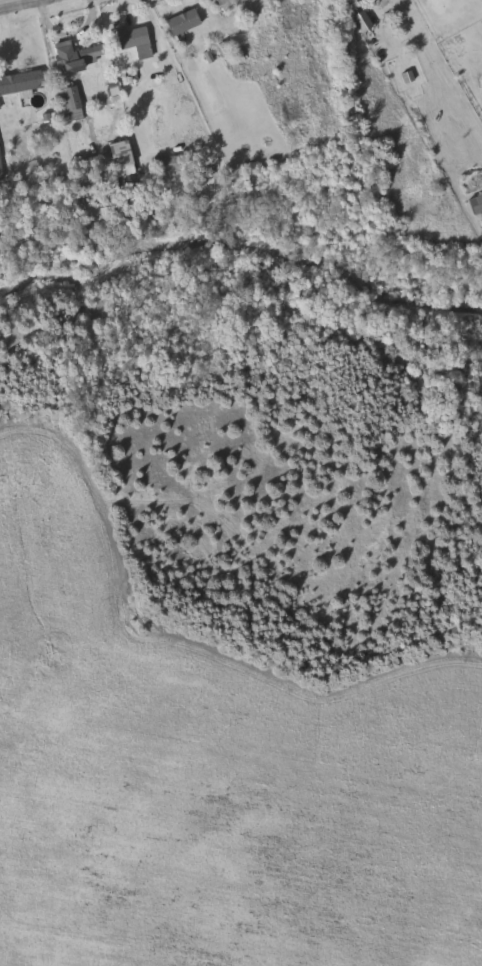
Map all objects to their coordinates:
building: (229, 3)
road: (19, 4)
road: (215, 6)
building: (181, 21)
building: (137, 38)
building: (81, 54)
building: (22, 80)
building: (71, 102)
building: (168, 164)
building: (477, 203)

